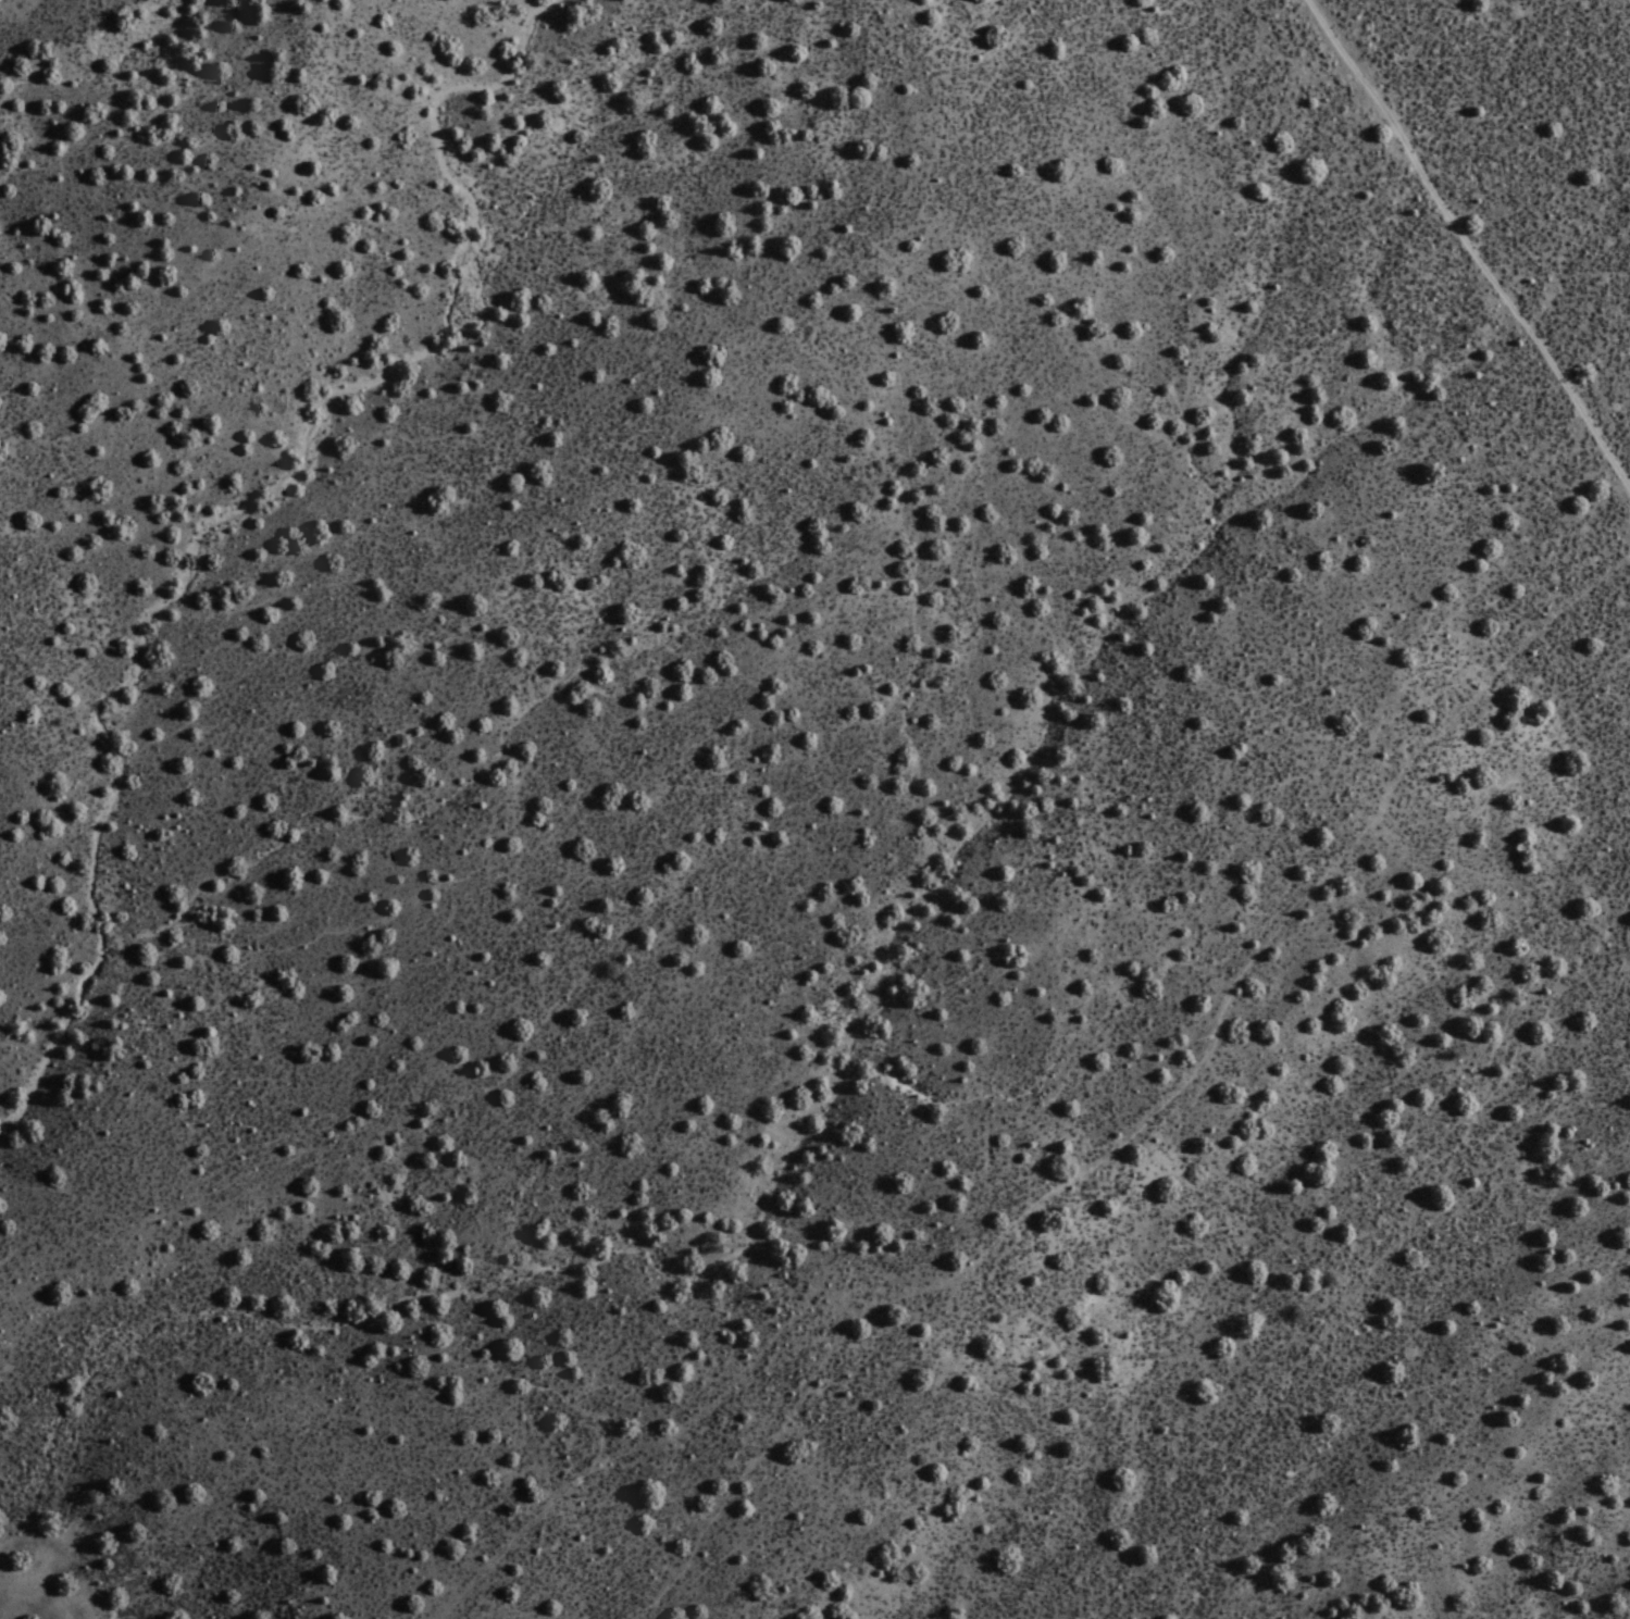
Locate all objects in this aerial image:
road: (1478, 225)

